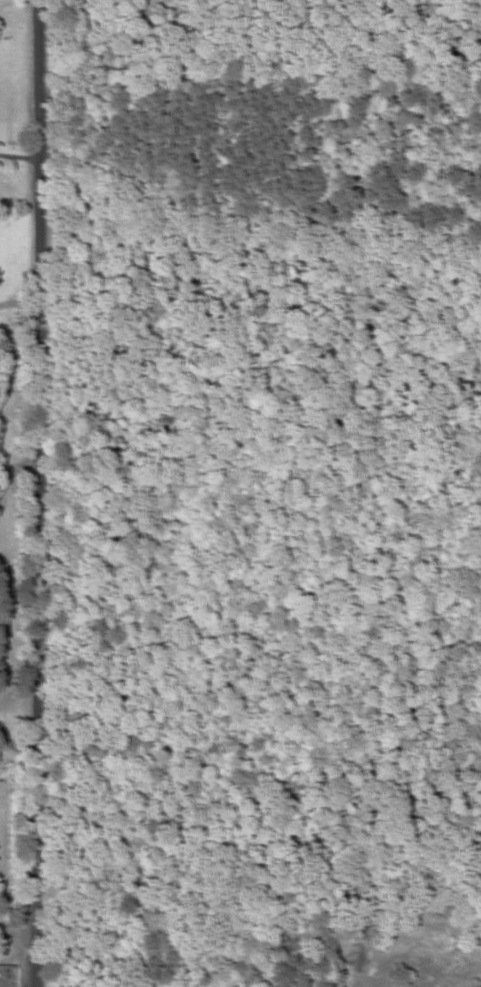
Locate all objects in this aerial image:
road: (20, 300)
road: (43, 493)

